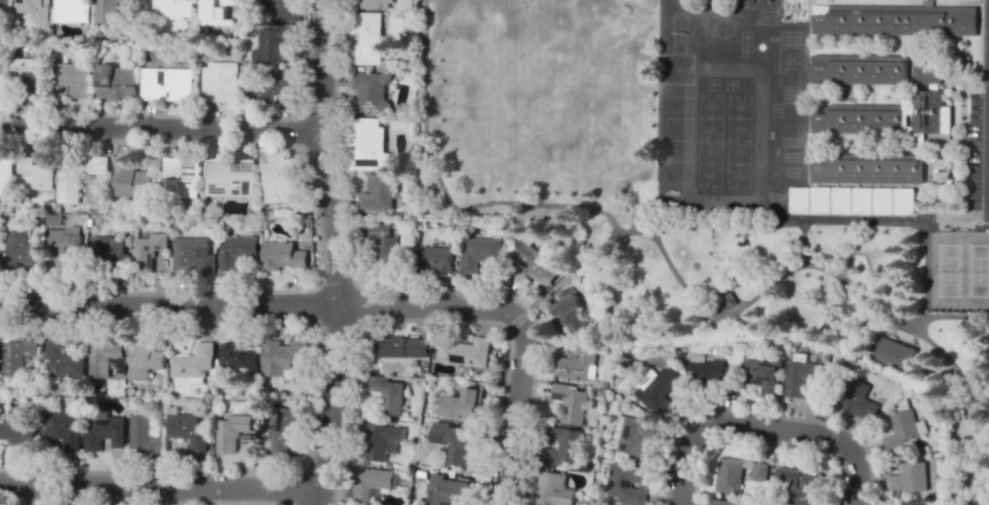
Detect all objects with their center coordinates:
road: (666, 0)
road: (715, 1)
building: (4, 4)
building: (373, 4)
building: (34, 9)
building: (112, 9)
building: (168, 9)
building: (278, 9)
building: (71, 10)
building: (216, 11)
road: (691, 12)
building: (896, 19)
building: (366, 38)
building: (273, 45)
building: (877, 68)
building: (1, 72)
building: (29, 75)
building: (71, 80)
building: (220, 81)
building: (117, 83)
building: (168, 83)
building: (274, 88)
building: (372, 91)
road: (987, 109)
building: (887, 116)
park: (710, 117)
park: (739, 117)
road: (161, 126)
building: (367, 144)
street lamp: (255, 145)
park: (709, 163)
park: (738, 163)
building: (870, 168)
building: (941, 169)
building: (36, 172)
building: (6, 175)
building: (76, 175)
building: (230, 176)
building: (180, 177)
building: (130, 179)
building: (283, 180)
road: (443, 191)
building: (377, 192)
building: (801, 198)
building: (821, 198)
building: (843, 199)
building: (863, 199)
building: (884, 199)
building: (905, 200)
road: (892, 219)
park: (782, 243)
building: (381, 244)
building: (67, 246)
road: (804, 247)
building: (238, 250)
building: (20, 251)
building: (147, 251)
road: (334, 253)
building: (478, 253)
building: (110, 254)
building: (192, 255)
building: (280, 255)
building: (433, 259)
building: (536, 263)
road: (924, 268)
park: (948, 270)
park: (978, 270)
road: (259, 306)
building: (568, 312)
road: (716, 314)
road: (948, 316)
building: (400, 346)
building: (463, 351)
building: (892, 353)
building: (19, 355)
building: (237, 356)
building: (103, 357)
building: (284, 358)
building: (64, 361)
building: (144, 361)
road: (835, 361)
building: (194, 363)
building: (576, 364)
building: (709, 372)
building: (762, 375)
building: (802, 377)
building: (657, 390)
building: (388, 394)
building: (859, 401)
building: (569, 403)
building: (462, 404)
road: (512, 411)
building: (19, 427)
building: (62, 427)
road: (760, 428)
building: (283, 429)
building: (902, 429)
building: (104, 430)
building: (189, 431)
building: (231, 432)
building: (144, 435)
building: (635, 437)
building: (380, 440)
building: (453, 441)
building: (563, 446)
building: (758, 471)
building: (728, 474)
building: (908, 477)
building: (370, 481)
building: (627, 483)
building: (799, 484)
road: (159, 486)
building: (552, 489)
building: (446, 491)
street lamp: (334, 502)
building: (720, 502)
building: (912, 503)

